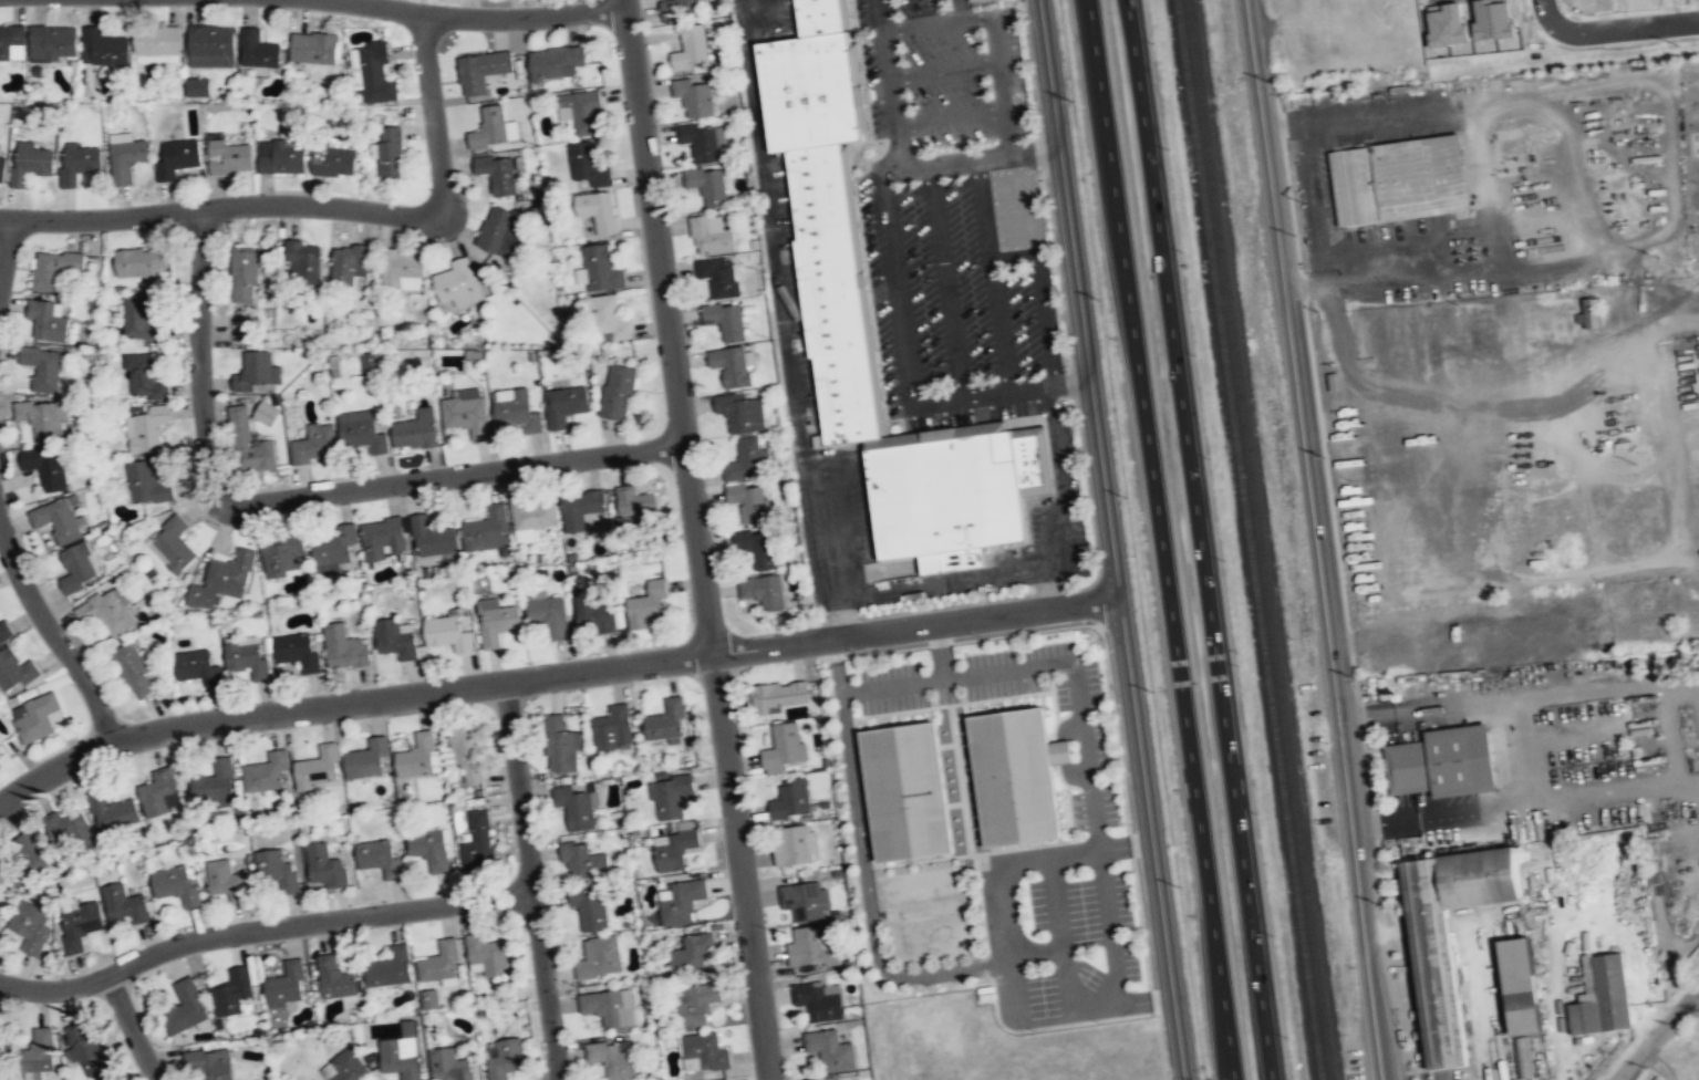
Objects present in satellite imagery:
building: (974, 0)
building: (680, 7)
road: (960, 9)
building: (822, 15)
road: (480, 17)
road: (743, 20)
road: (1612, 29)
building: (52, 42)
building: (12, 43)
building: (157, 44)
building: (211, 45)
building: (313, 46)
building: (102, 48)
building: (258, 49)
building: (691, 49)
road: (889, 61)
road: (998, 62)
building: (556, 63)
road: (944, 69)
building: (372, 71)
building: (481, 71)
building: (199, 86)
building: (812, 90)
road: (753, 96)
building: (693, 97)
building: (587, 114)
building: (490, 128)
road: (1007, 132)
building: (702, 143)
building: (391, 152)
building: (126, 156)
building: (280, 156)
building: (177, 157)
building: (230, 157)
building: (333, 159)
road: (961, 159)
building: (79, 162)
building: (30, 163)
road: (891, 163)
building: (2, 164)
building: (589, 165)
building: (497, 172)
building: (1399, 179)
building: (707, 186)
road: (322, 206)
building: (599, 210)
building: (499, 230)
building: (712, 235)
road: (6, 243)
road: (1014, 255)
building: (303, 259)
building: (141, 260)
building: (349, 266)
building: (402, 268)
building: (54, 269)
building: (600, 269)
building: (245, 273)
road: (993, 273)
building: (718, 276)
building: (456, 283)
building: (835, 293)
road: (1079, 300)
road: (781, 303)
road: (900, 311)
building: (1593, 311)
road: (1046, 318)
building: (139, 319)
building: (46, 320)
building: (608, 320)
building: (726, 320)
road: (952, 324)
road: (667, 326)
building: (370, 361)
building: (731, 365)
building: (42, 367)
building: (256, 371)
building: (145, 377)
road: (1073, 382)
building: (618, 393)
building: (564, 405)
building: (516, 409)
building: (267, 412)
building: (466, 413)
building: (740, 413)
building: (43, 419)
building: (147, 429)
building: (361, 430)
building: (415, 430)
building: (249, 444)
building: (314, 445)
road: (1055, 449)
building: (745, 460)
building: (1032, 460)
building: (45, 465)
building: (145, 484)
road: (301, 495)
building: (950, 500)
building: (635, 502)
building: (749, 502)
building: (581, 508)
building: (533, 517)
building: (56, 520)
road: (829, 520)
building: (487, 530)
building: (432, 537)
road: (1056, 538)
building: (382, 539)
road: (1200, 539)
road: (1315, 539)
road: (1160, 540)
railway: (1249, 540)
railway: (1258, 540)
building: (173, 544)
building: (757, 548)
building: (333, 549)
building: (281, 553)
building: (79, 568)
building: (224, 580)
road: (949, 580)
road: (1047, 588)
building: (763, 591)
building: (648, 605)
building: (110, 611)
building: (593, 611)
building: (548, 614)
road: (841, 616)
building: (496, 622)
road: (914, 626)
building: (3, 630)
road: (53, 633)
building: (448, 633)
building: (395, 638)
building: (344, 648)
building: (297, 652)
building: (247, 657)
building: (195, 666)
building: (14, 671)
building: (133, 672)
building: (777, 696)
road: (346, 700)
building: (34, 719)
building: (666, 724)
building: (612, 729)
building: (561, 745)
building: (783, 748)
building: (465, 752)
building: (417, 756)
building: (369, 758)
building: (1442, 761)
building: (315, 766)
building: (266, 772)
building: (1013, 776)
building: (215, 782)
building: (909, 789)
building: (159, 792)
building: (670, 797)
building: (790, 800)
building: (574, 808)
building: (112, 811)
building: (68, 825)
road: (1151, 840)
building: (477, 841)
building: (792, 845)
building: (429, 848)
building: (673, 850)
building: (25, 854)
building: (379, 856)
building: (581, 860)
road: (1027, 861)
road: (862, 864)
building: (324, 866)
road: (739, 866)
building: (276, 870)
road: (529, 880)
building: (225, 881)
building: (176, 885)
building: (804, 901)
building: (680, 902)
building: (124, 904)
building: (589, 907)
building: (80, 924)
building: (30, 925)
road: (261, 927)
building: (1448, 938)
building: (810, 946)
building: (488, 954)
building: (690, 955)
building: (599, 958)
building: (439, 963)
building: (390, 967)
building: (335, 978)
building: (286, 985)
building: (1517, 988)
building: (232, 991)
building: (1602, 998)
building: (431, 999)
building: (818, 1000)
building: (694, 1004)
building: (609, 1007)
building: (185, 1008)
road: (1067, 1015)
road: (128, 1027)
road: (1656, 1032)
building: (2, 1048)
building: (85, 1048)
building: (829, 1050)
building: (39, 1052)
building: (401, 1053)
building: (703, 1053)
building: (1522, 1057)
building: (504, 1058)
building: (613, 1059)
building: (209, 1063)
road: (1657, 1063)
building: (448, 1066)
building: (346, 1067)

